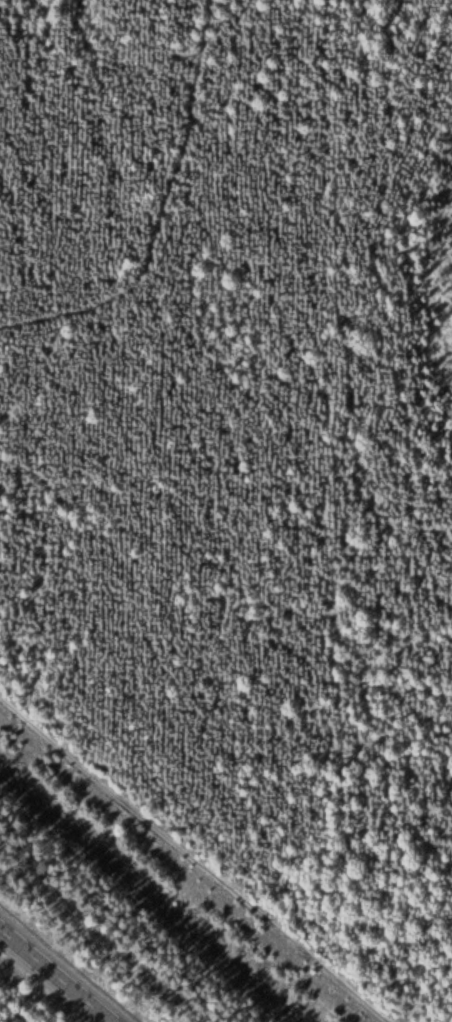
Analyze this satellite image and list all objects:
road: (155, 214)
road: (194, 861)
railway: (133, 910)
road: (61, 970)

